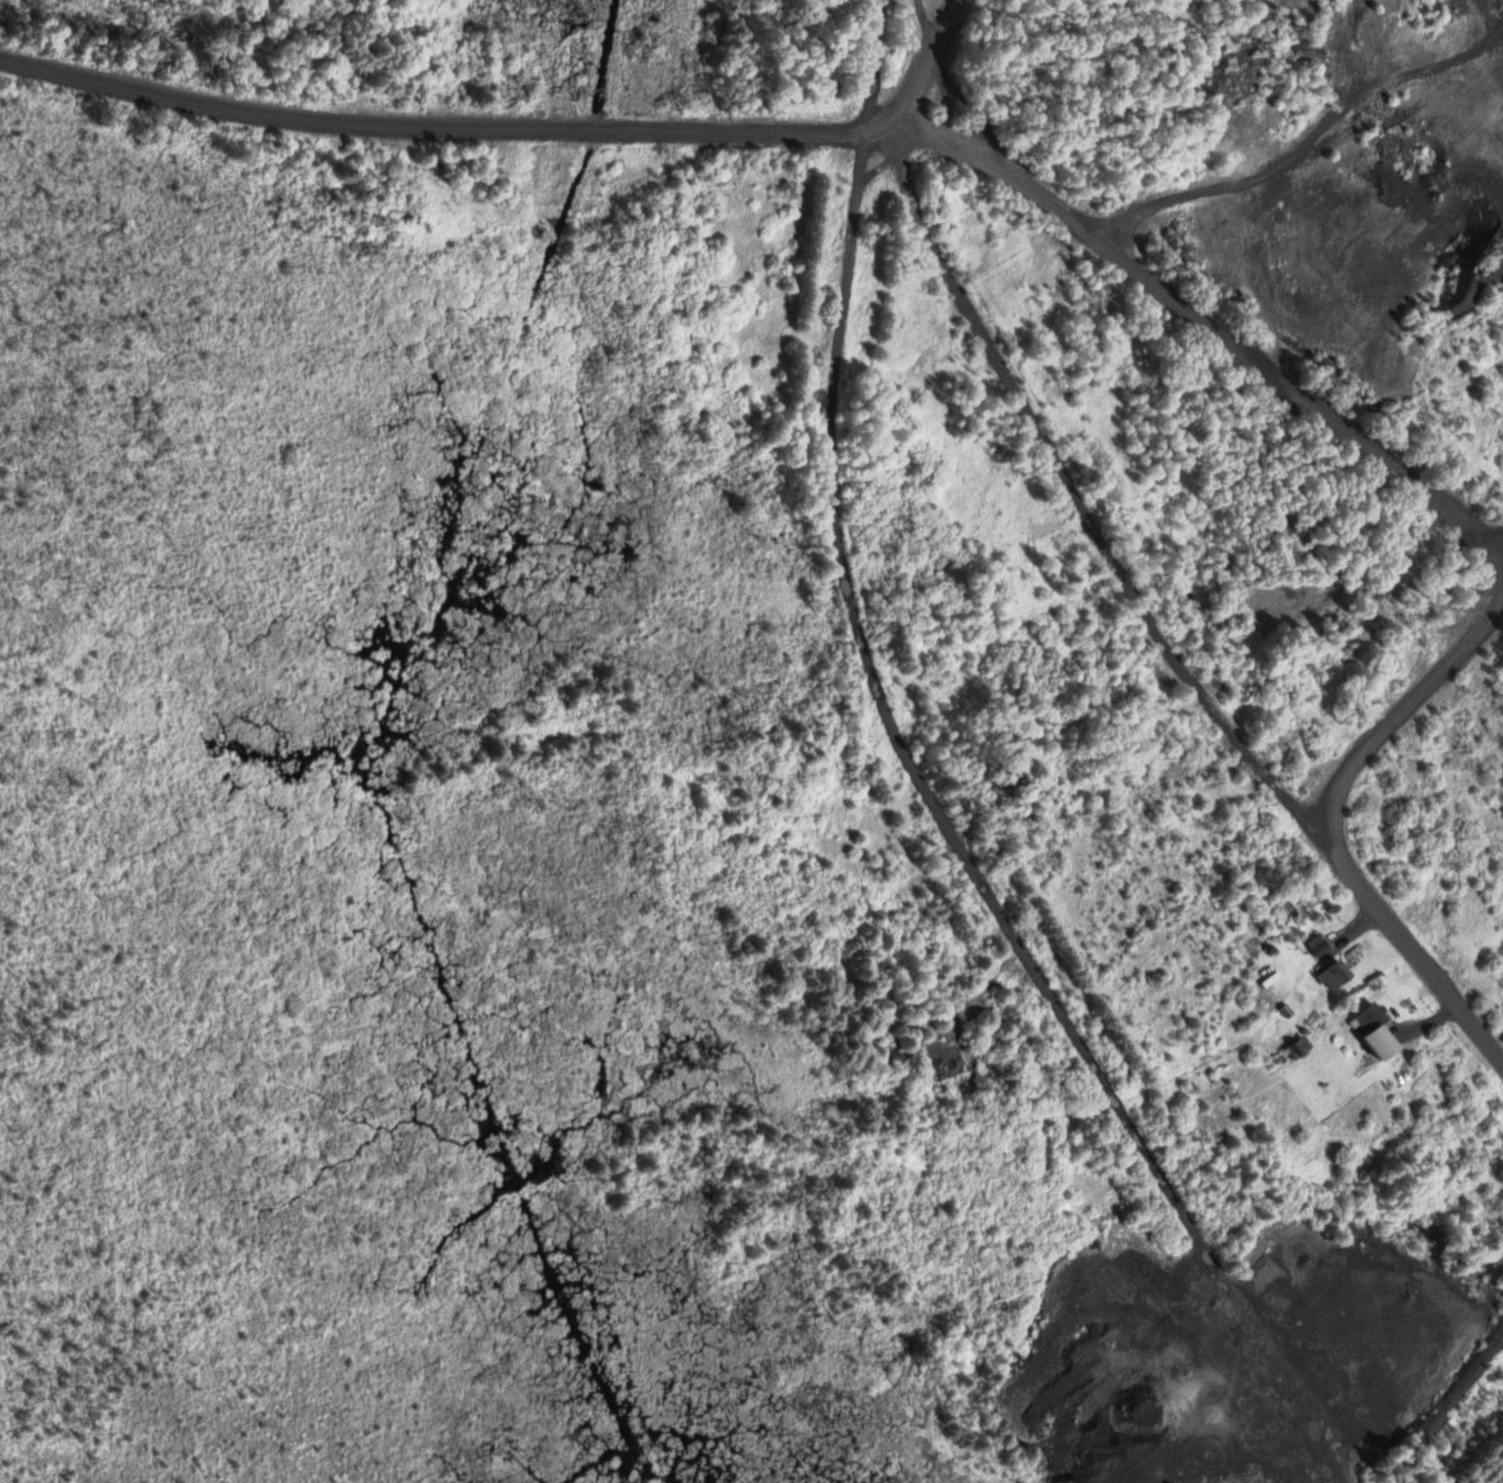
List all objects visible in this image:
road: (919, 65)
road: (440, 121)
road: (1207, 317)
road: (1155, 623)
road: (1399, 709)
road: (934, 790)
building: (1315, 943)
building: (1332, 973)
building: (1369, 1017)

